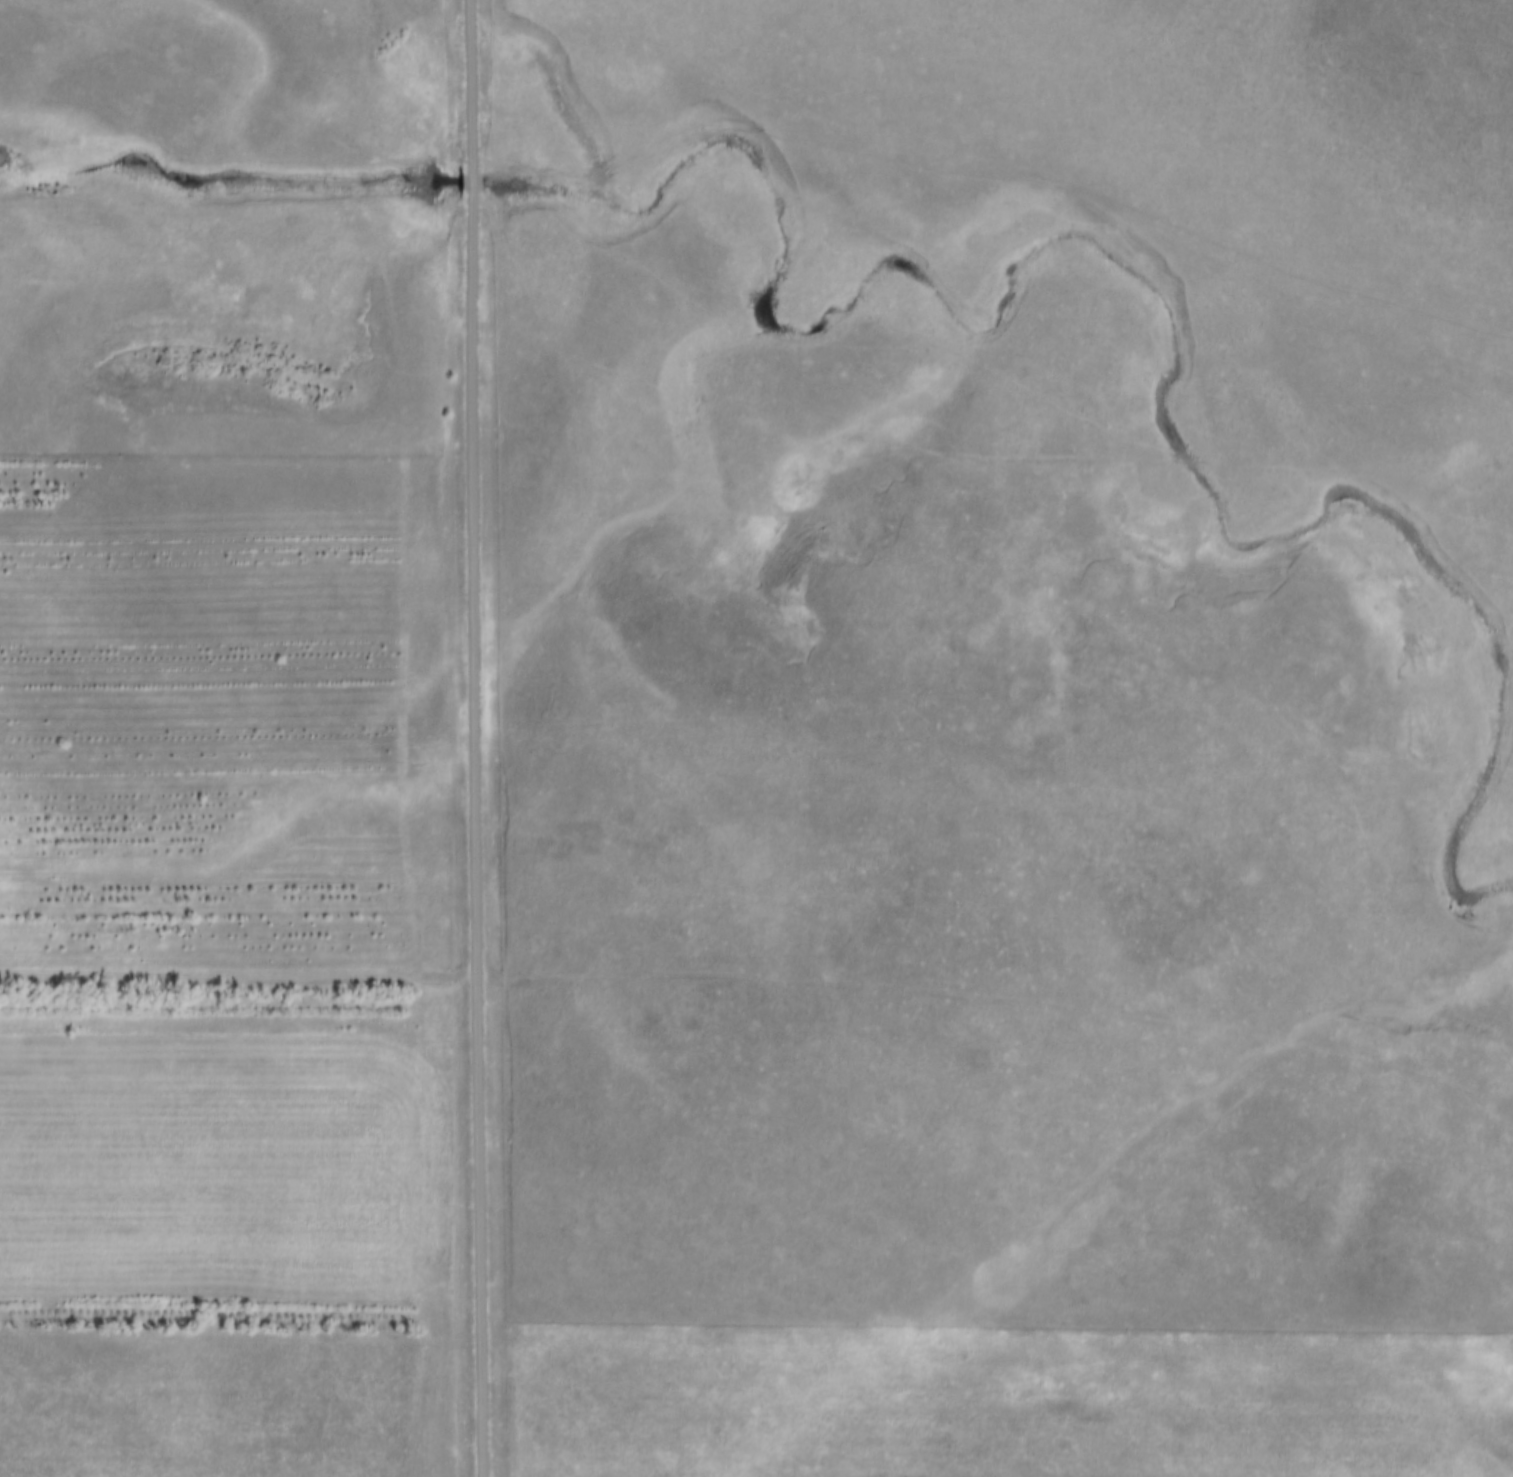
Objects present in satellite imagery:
road: (474, 86)
road: (475, 180)
road: (477, 832)

